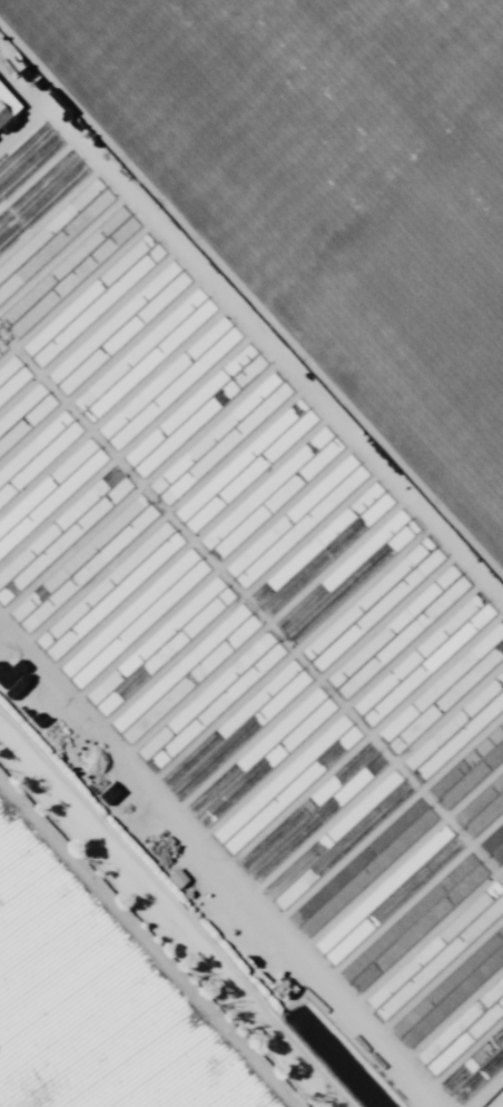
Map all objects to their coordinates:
road: (442, 63)
building: (4, 116)
crop: (324, 196)
building: (456, 581)
building: (38, 611)
road: (150, 948)
crop: (111, 976)

